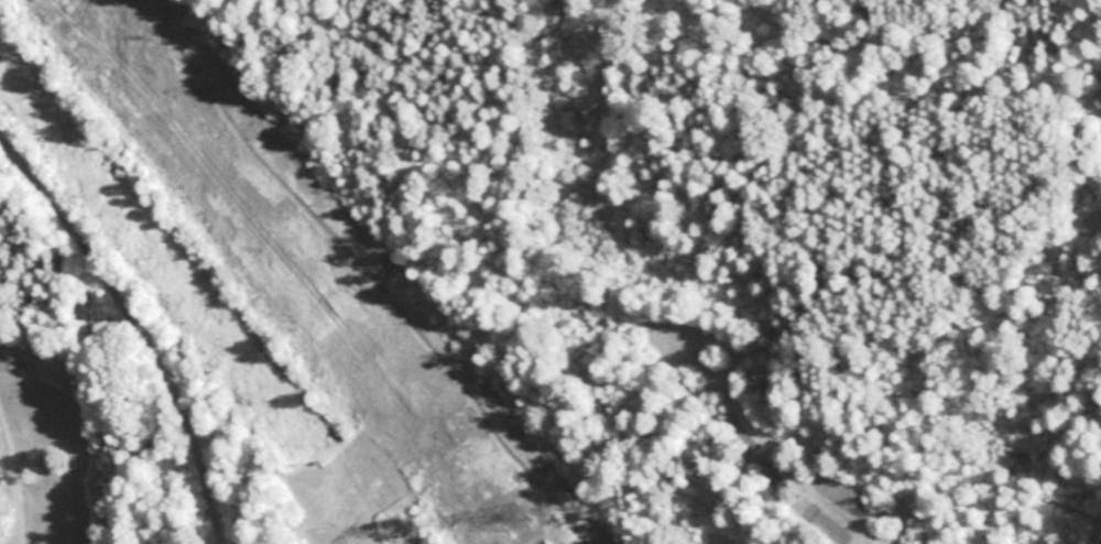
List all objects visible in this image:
road: (135, 327)
power tower: (519, 519)

